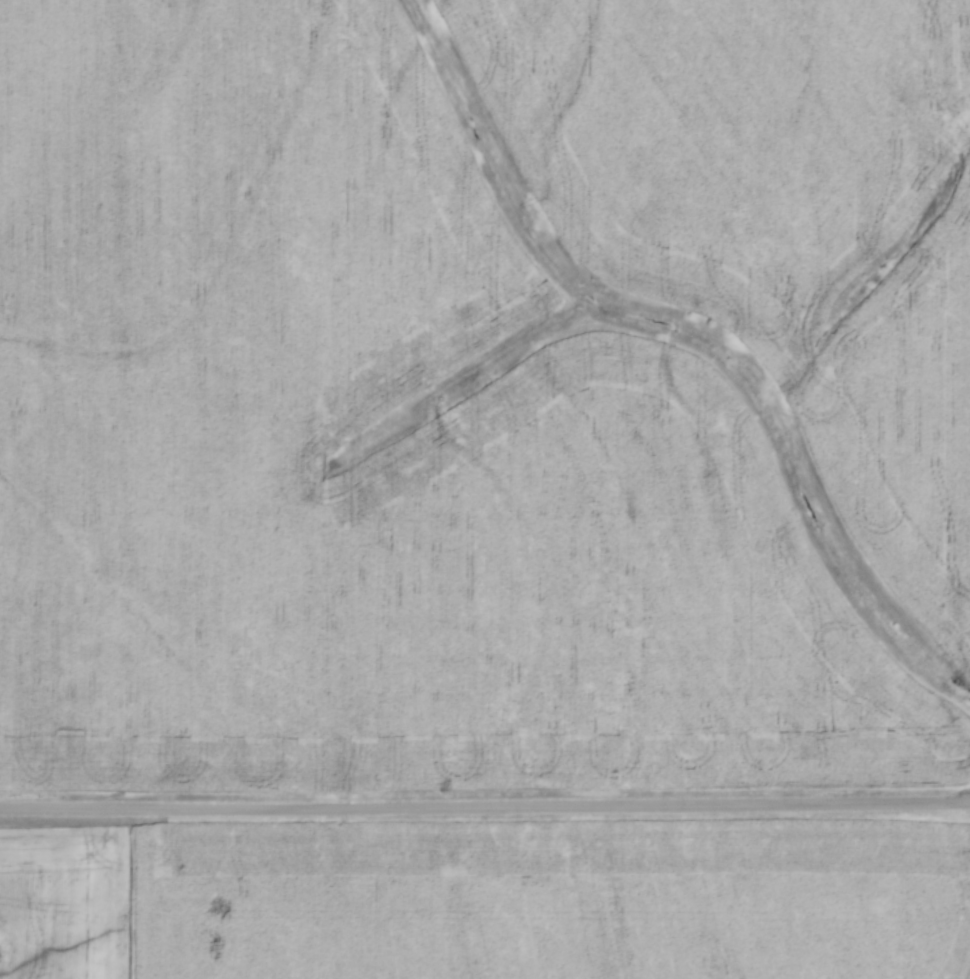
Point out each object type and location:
road: (485, 800)

